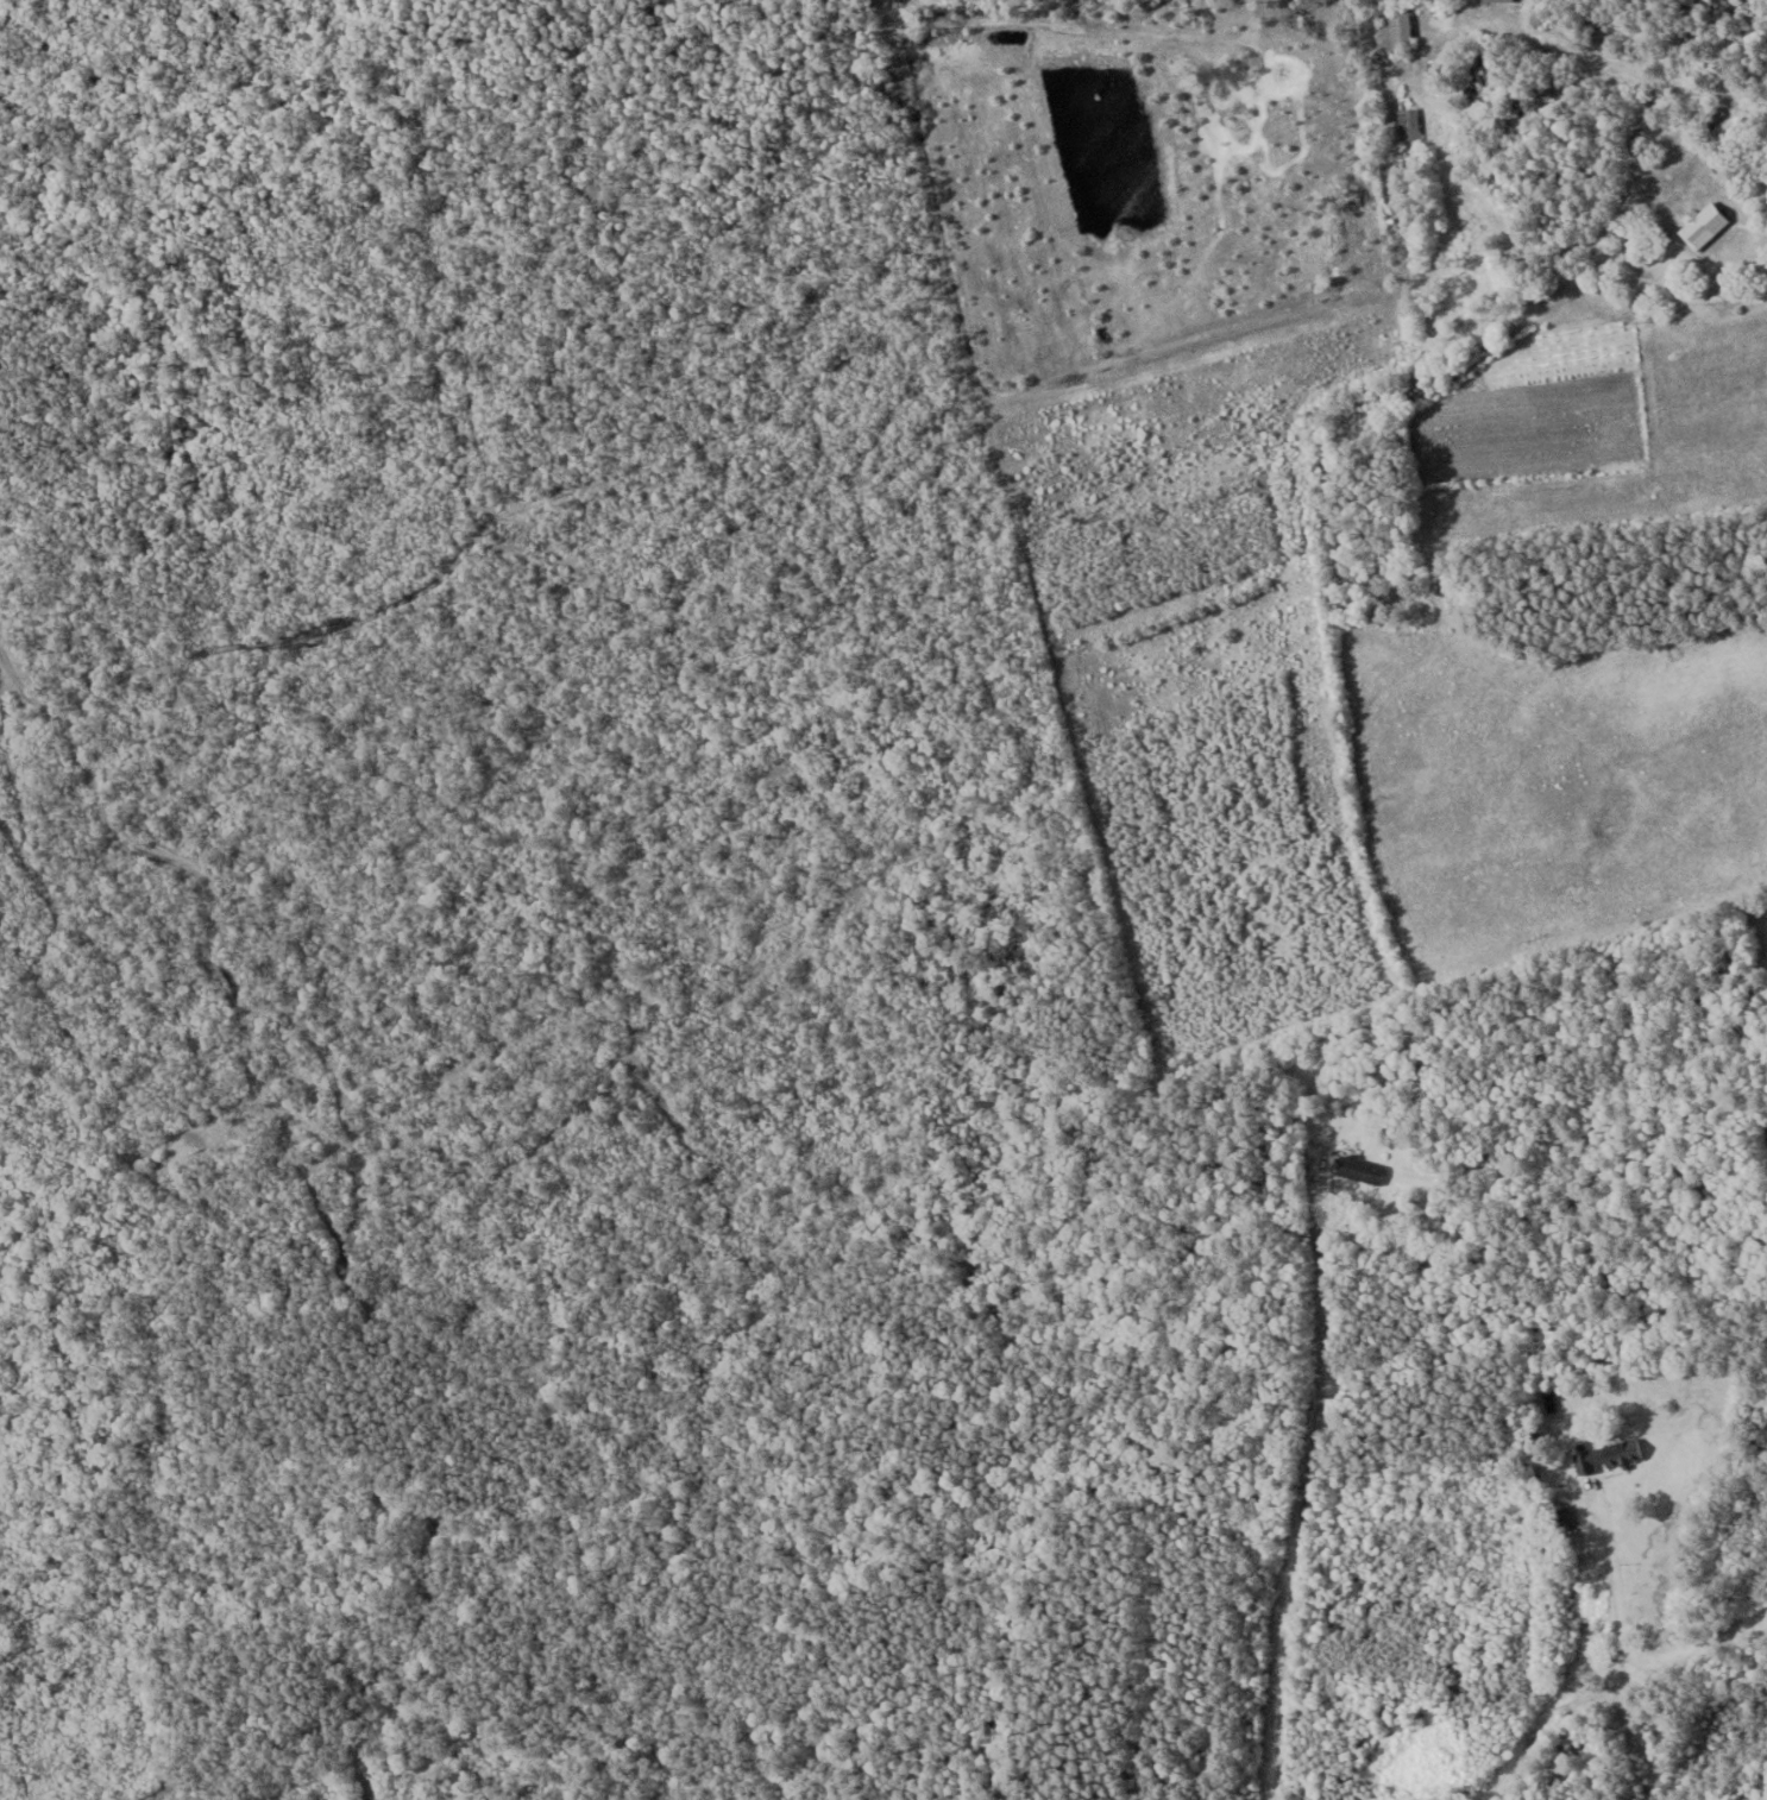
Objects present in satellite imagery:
building: (1396, 31)
building: (1712, 117)
building: (1409, 124)
building: (1703, 225)
building: (1360, 1170)
building: (1608, 1455)
road: (1296, 1503)
road: (1610, 1573)
road: (1667, 1648)

